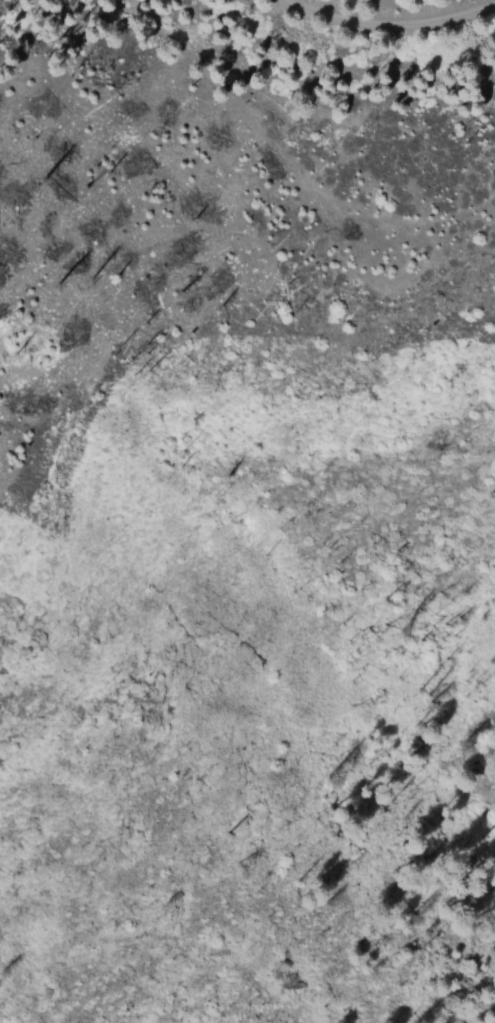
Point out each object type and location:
road: (389, 24)

